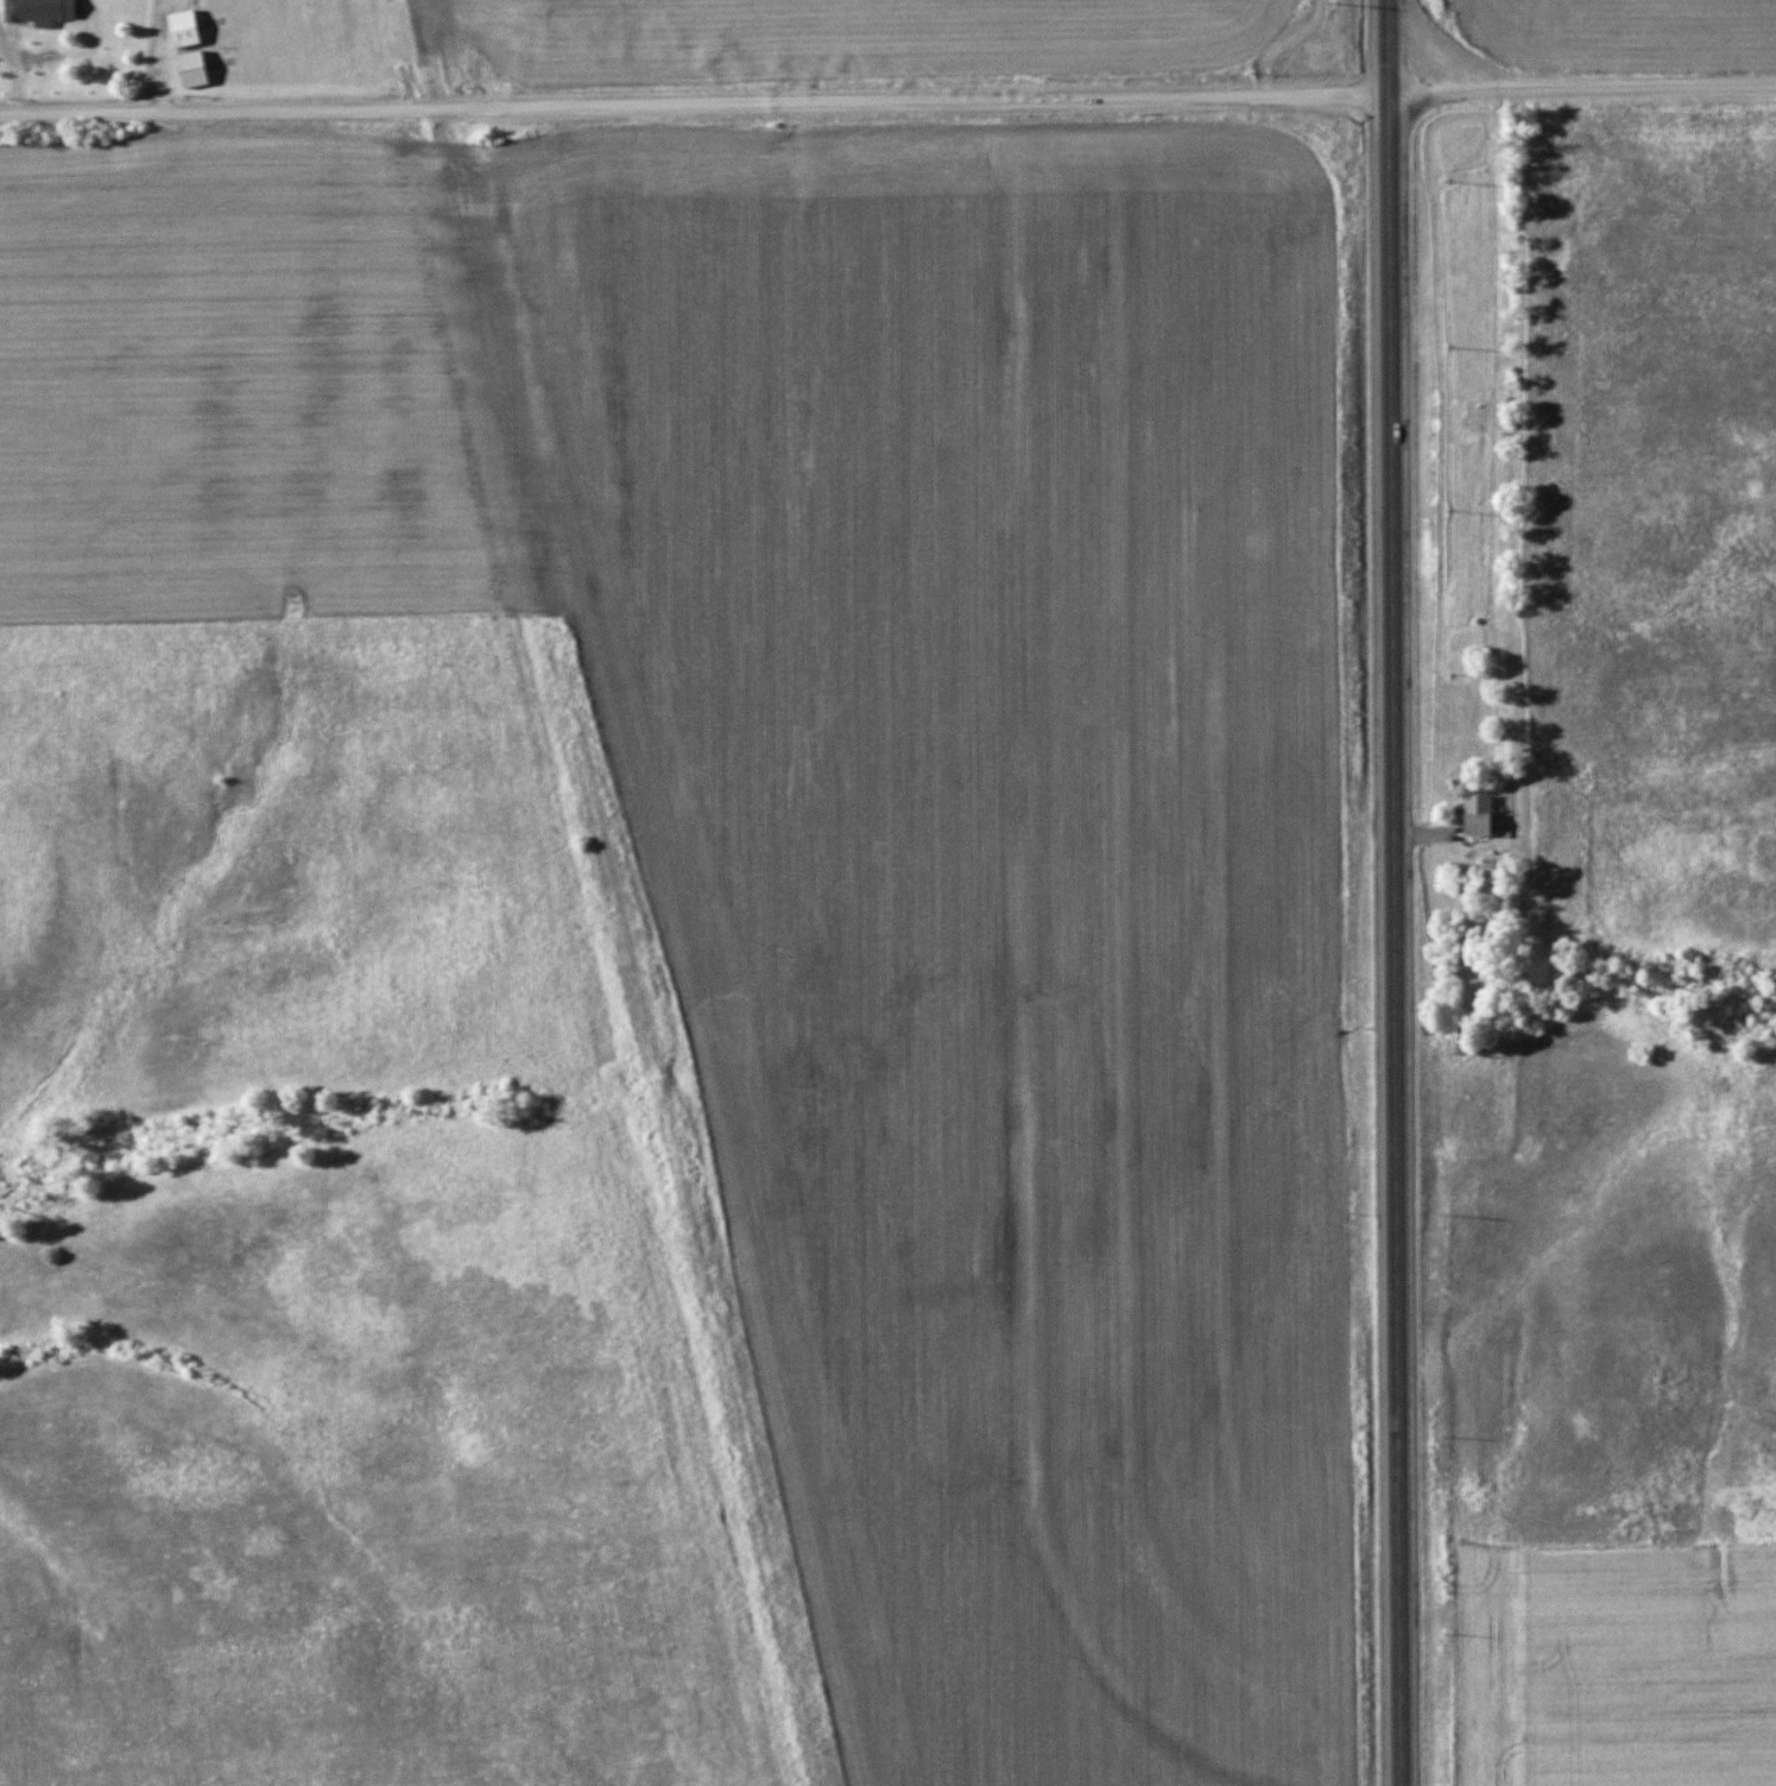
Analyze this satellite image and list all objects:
building: (38, 11)
building: (182, 29)
airport runway: (337, 37)
building: (190, 69)
road: (1585, 89)
road: (697, 107)
building: (1475, 815)
road: (1401, 892)

